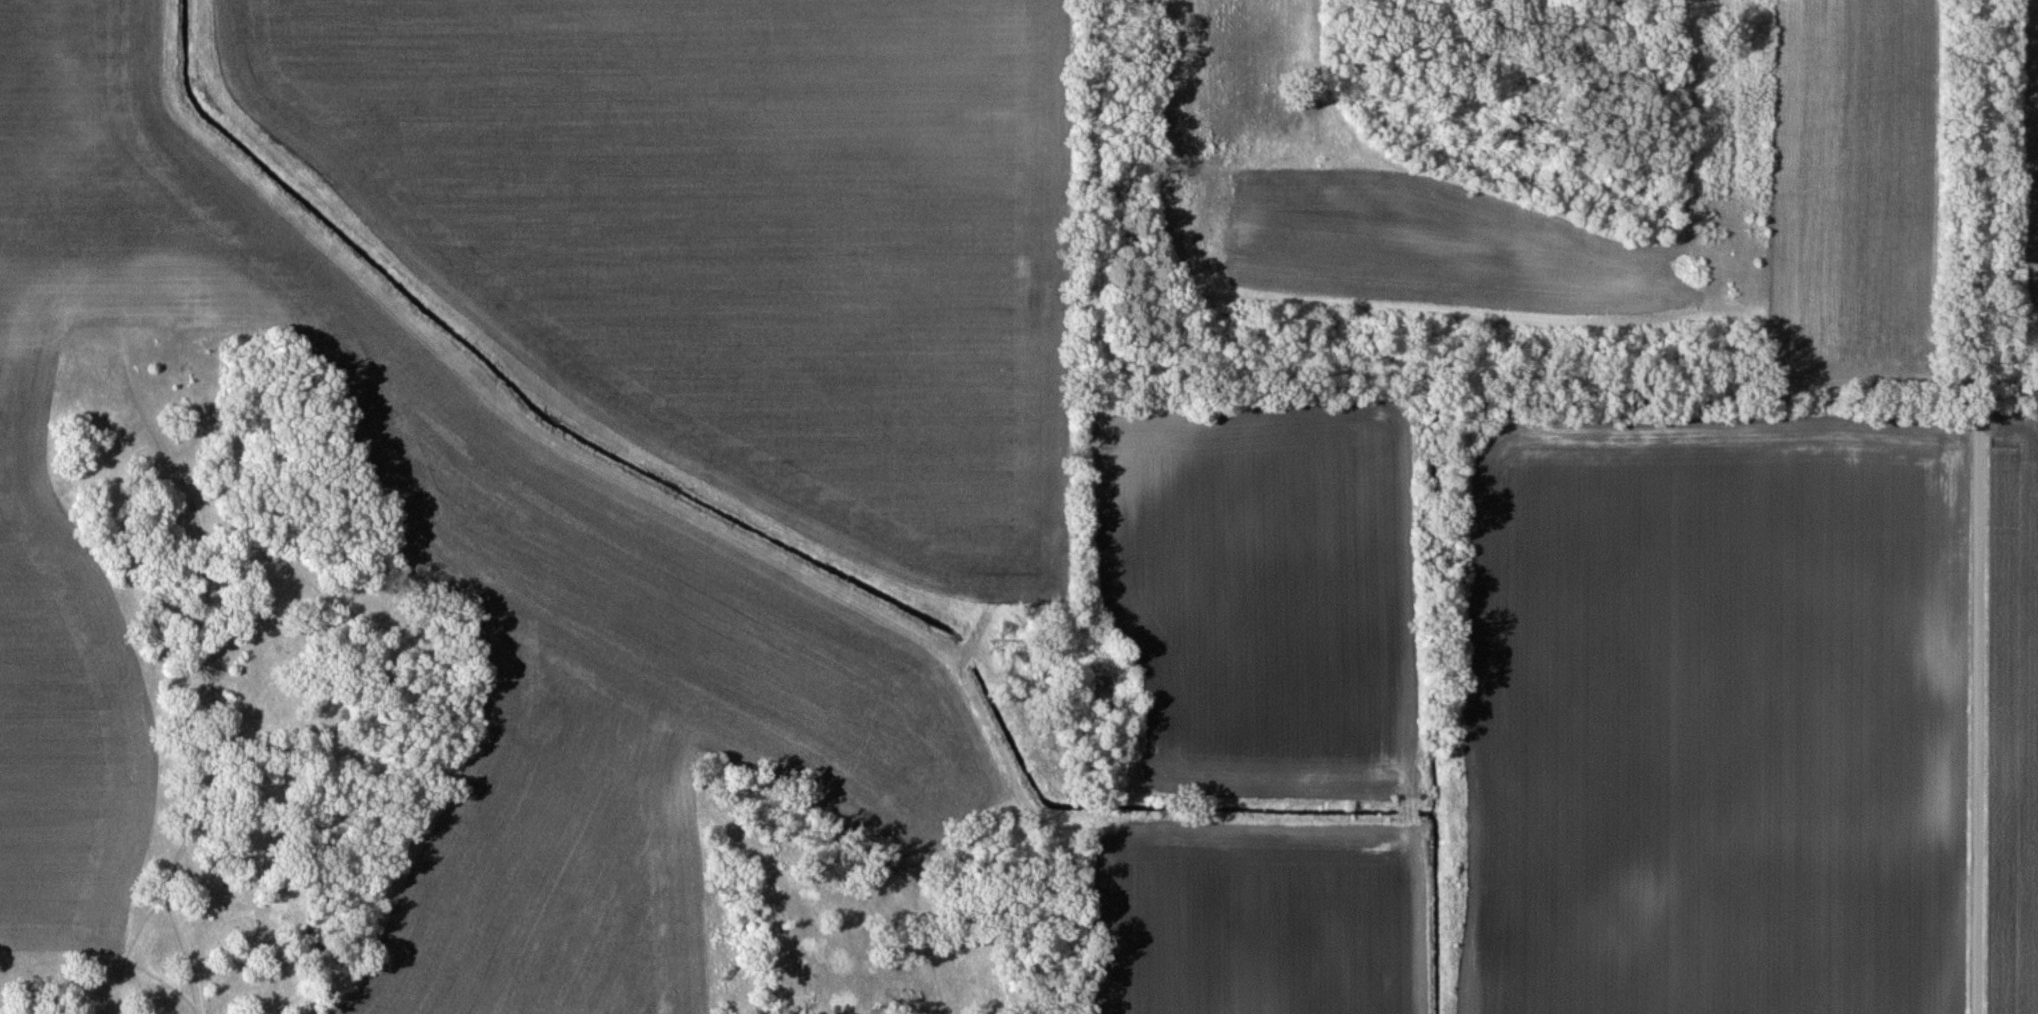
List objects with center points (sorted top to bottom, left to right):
road: (1984, 506)

